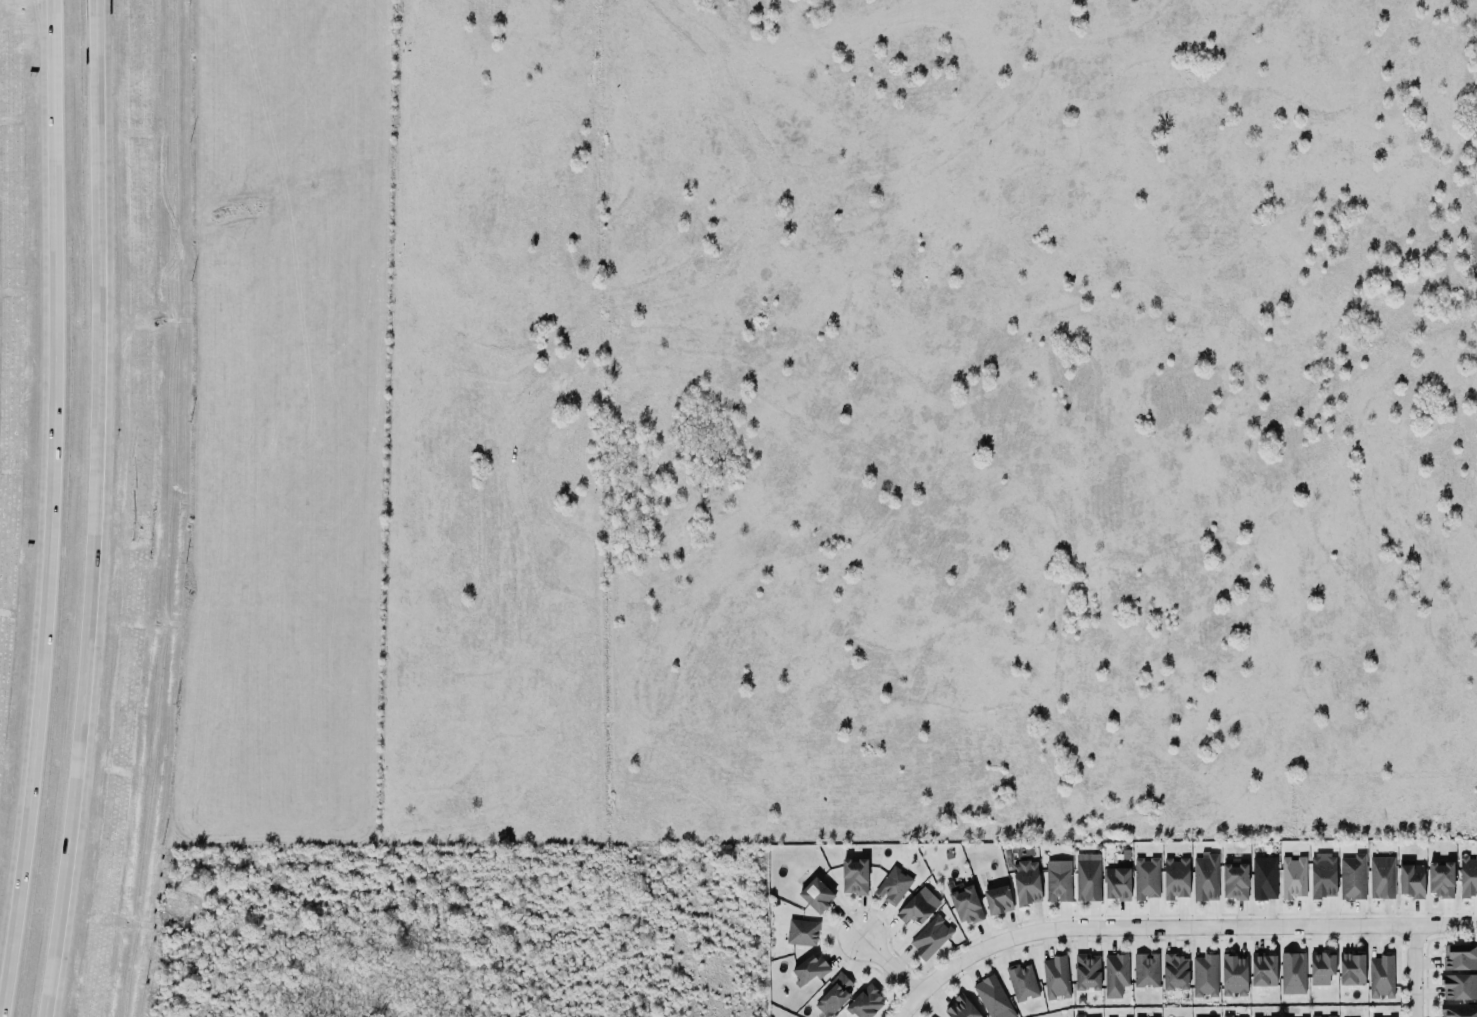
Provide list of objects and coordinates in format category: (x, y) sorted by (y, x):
road: (48, 504)
road: (96, 509)
building: (1320, 876)
building: (852, 877)
building: (1205, 877)
building: (1467, 877)
building: (1086, 878)
building: (1262, 878)
building: (1291, 878)
building: (1351, 878)
building: (1146, 879)
building: (1175, 879)
building: (1440, 879)
building: (1380, 880)
building: (1056, 881)
building: (1411, 881)
building: (1234, 882)
building: (1026, 883)
building: (1115, 884)
building: (893, 886)
building: (814, 897)
building: (996, 901)
building: (965, 906)
building: (915, 909)
road: (1169, 924)
building: (802, 933)
building: (928, 936)
building: (1459, 958)
road: (876, 960)
building: (807, 968)
building: (1143, 968)
building: (1260, 968)
building: (1321, 968)
building: (1348, 968)
building: (1083, 970)
building: (1172, 970)
road: (1414, 972)
building: (1112, 974)
building: (1292, 974)
building: (1234, 975)
building: (1204, 977)
building: (1381, 977)
building: (1055, 978)
building: (1021, 982)
building: (1457, 985)
building: (832, 993)
building: (992, 998)
building: (865, 1003)
building: (957, 1008)
building: (1457, 1010)
building: (1076, 1014)
building: (1144, 1014)
building: (1226, 1015)
building: (1333, 1016)

